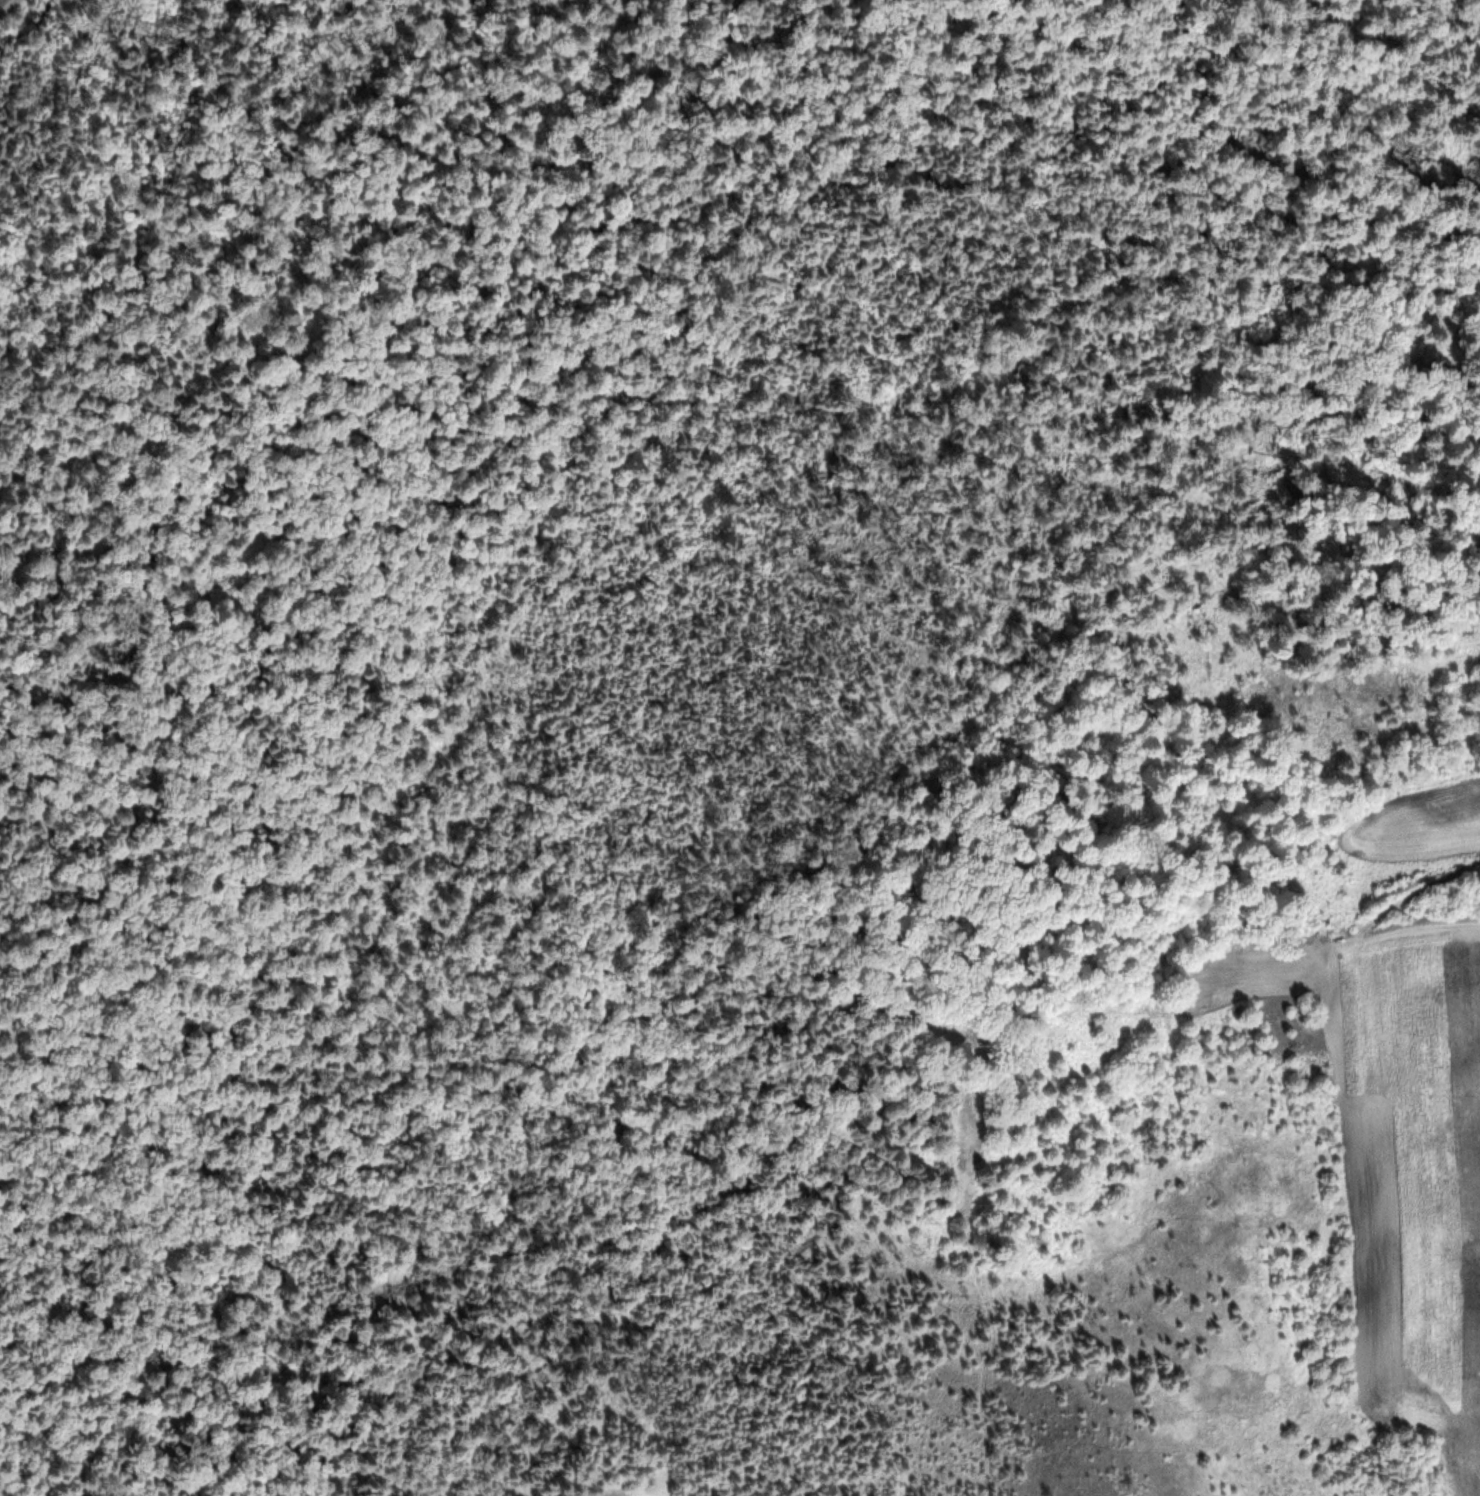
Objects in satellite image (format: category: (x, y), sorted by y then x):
road: (3, 4)

